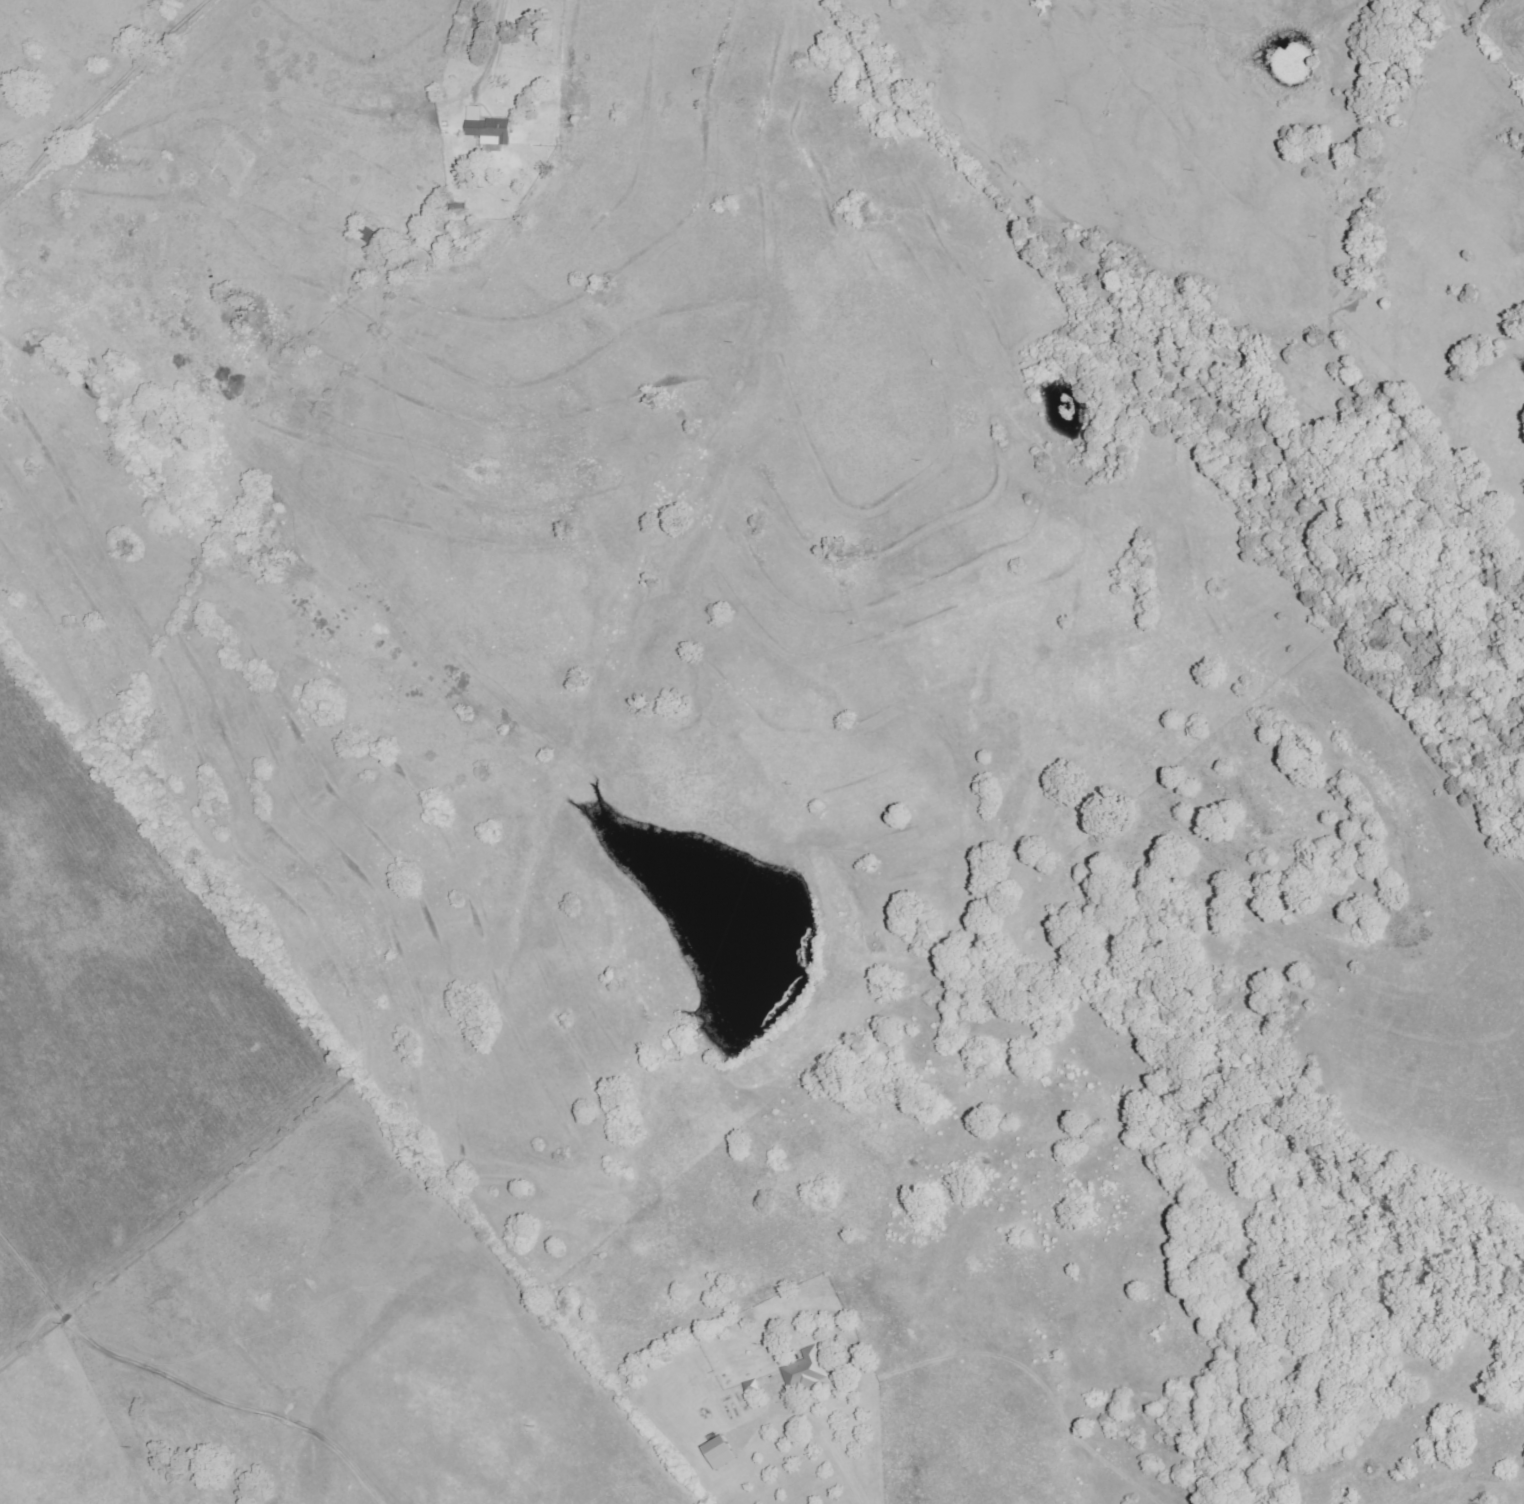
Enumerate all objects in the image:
road: (508, 2)
building: (488, 128)
building: (805, 1371)
building: (750, 1387)
road: (836, 1447)
building: (716, 1453)

